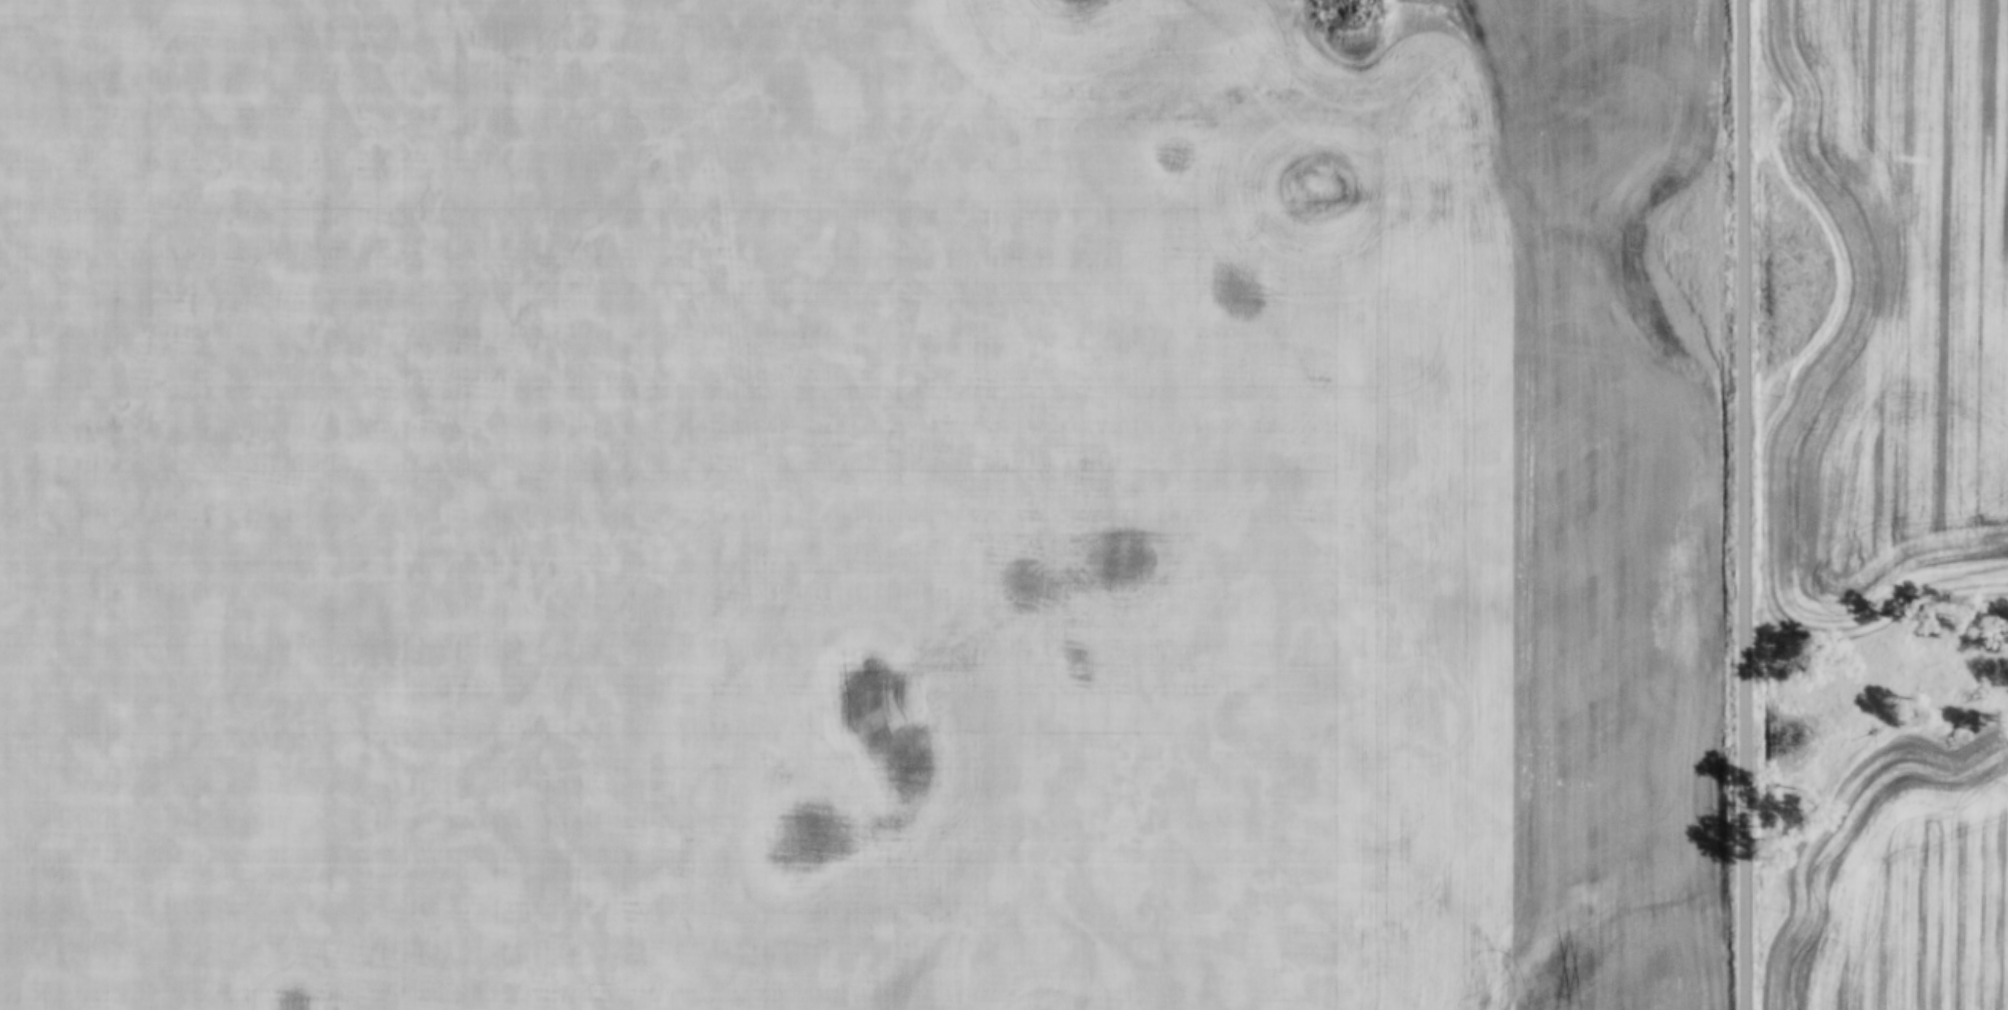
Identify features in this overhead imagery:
road: (1747, 504)

